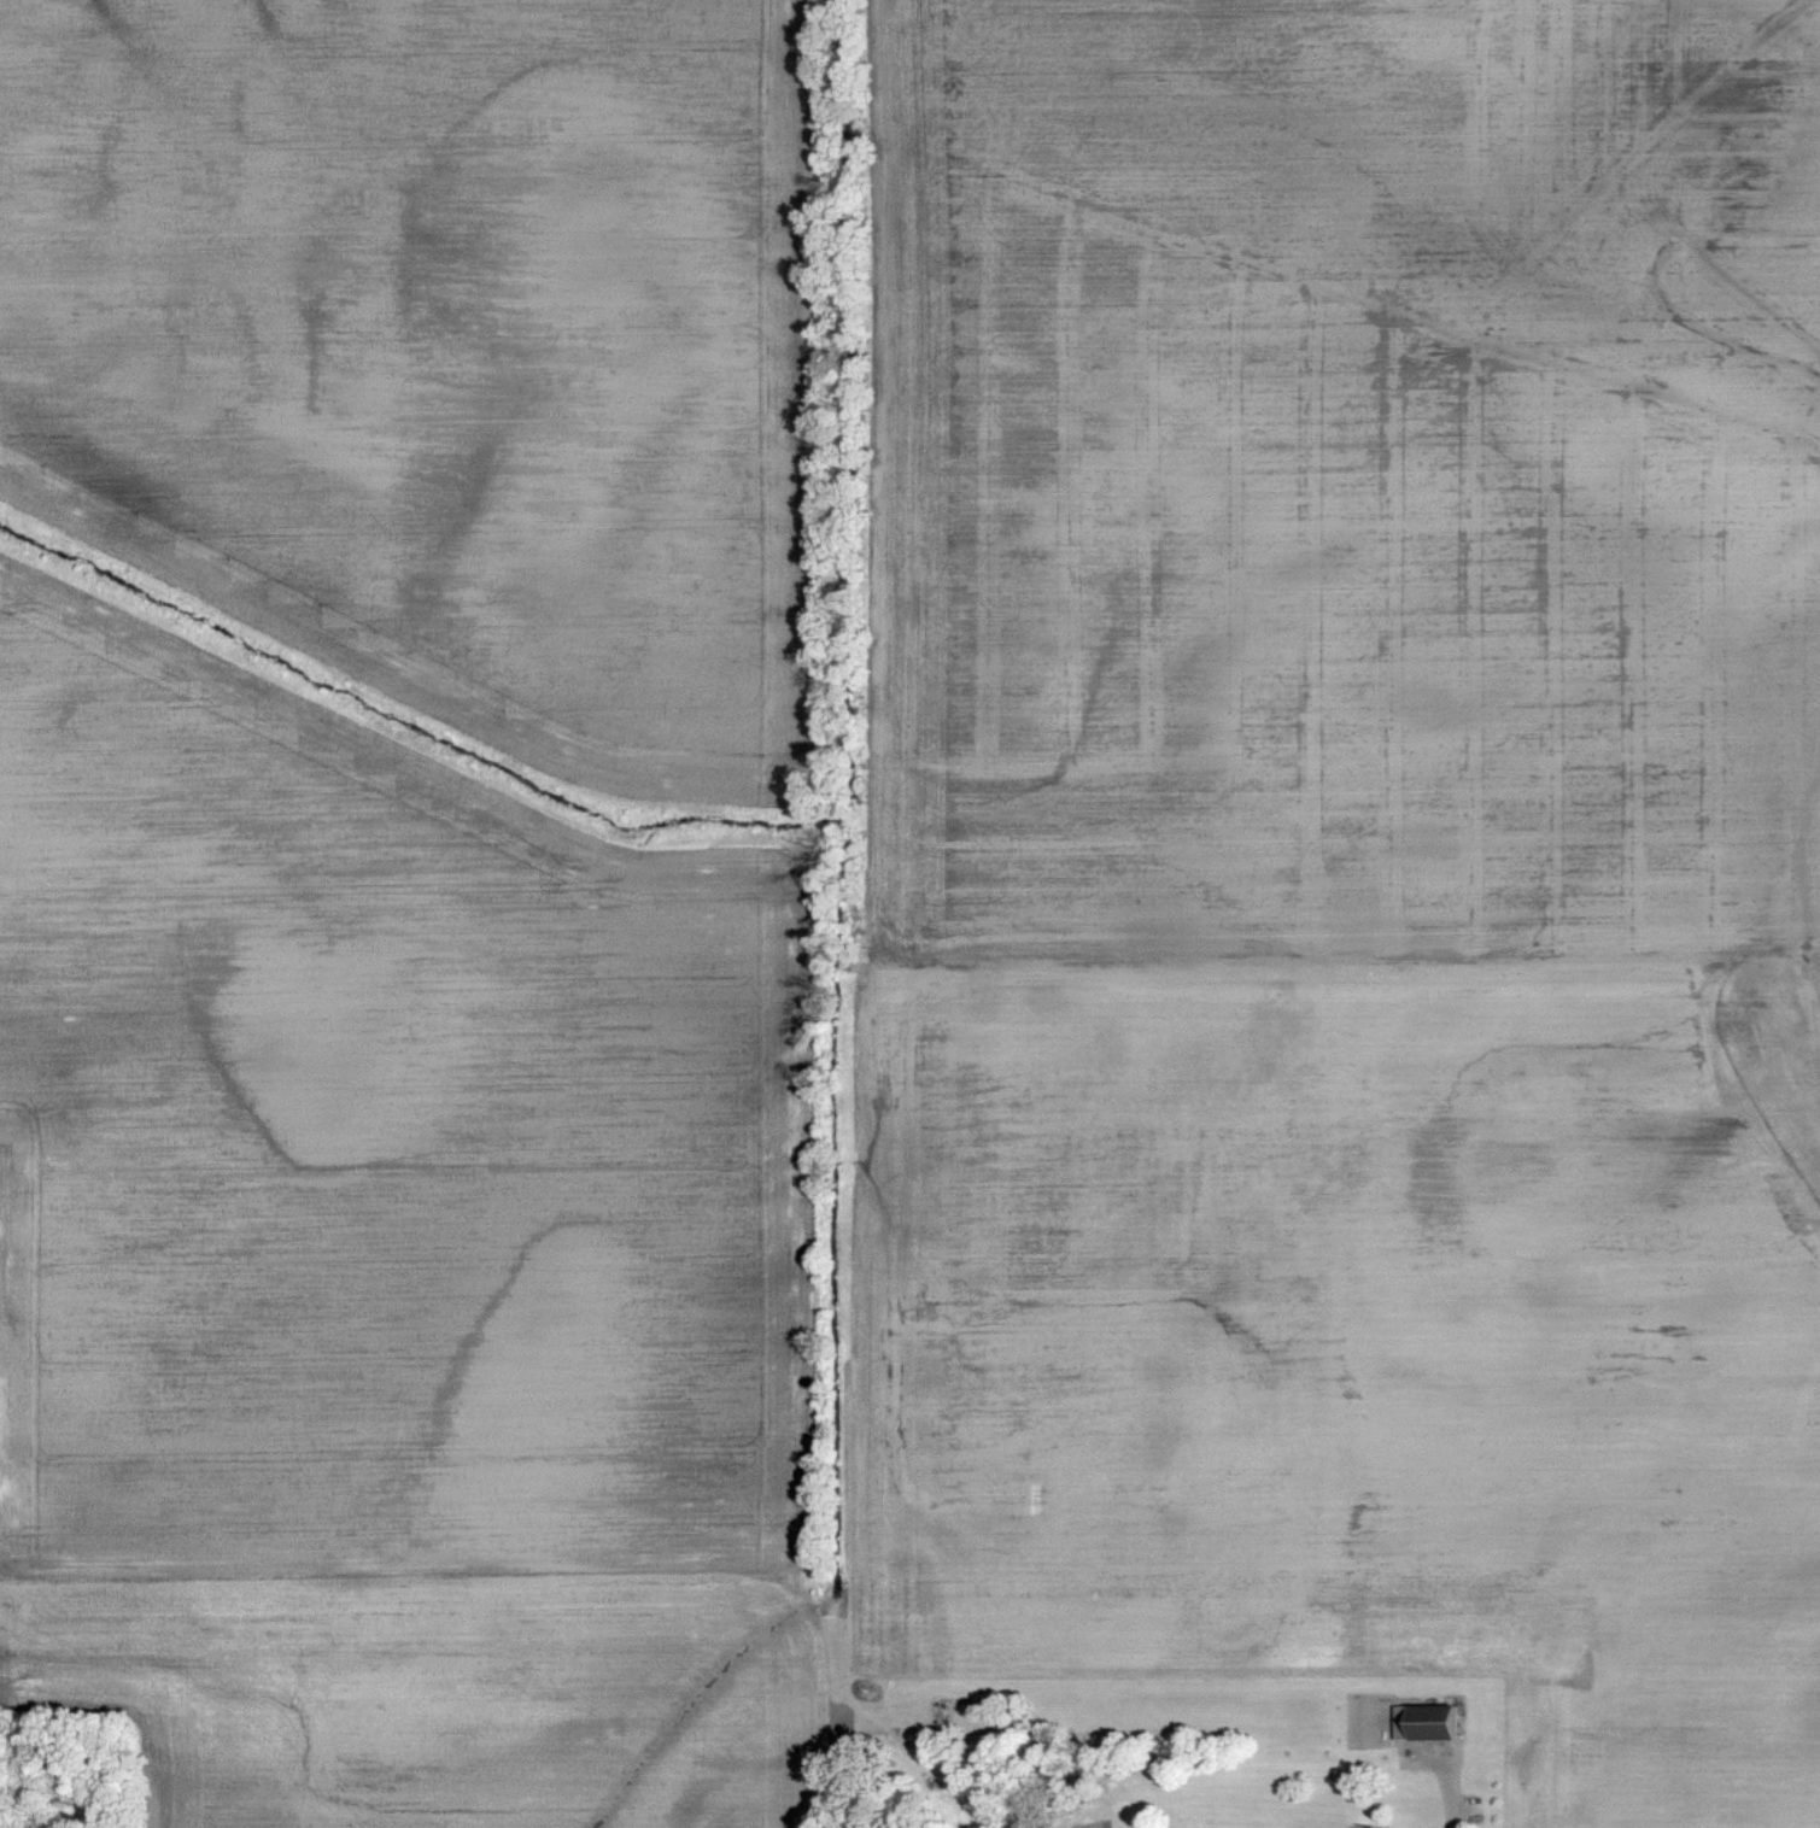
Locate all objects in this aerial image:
crop: (447, 364)
crop: (1324, 477)
crop: (388, 1141)
crop: (1347, 1342)
crop: (447, 1695)
building: (1428, 1721)
road: (1453, 1794)

